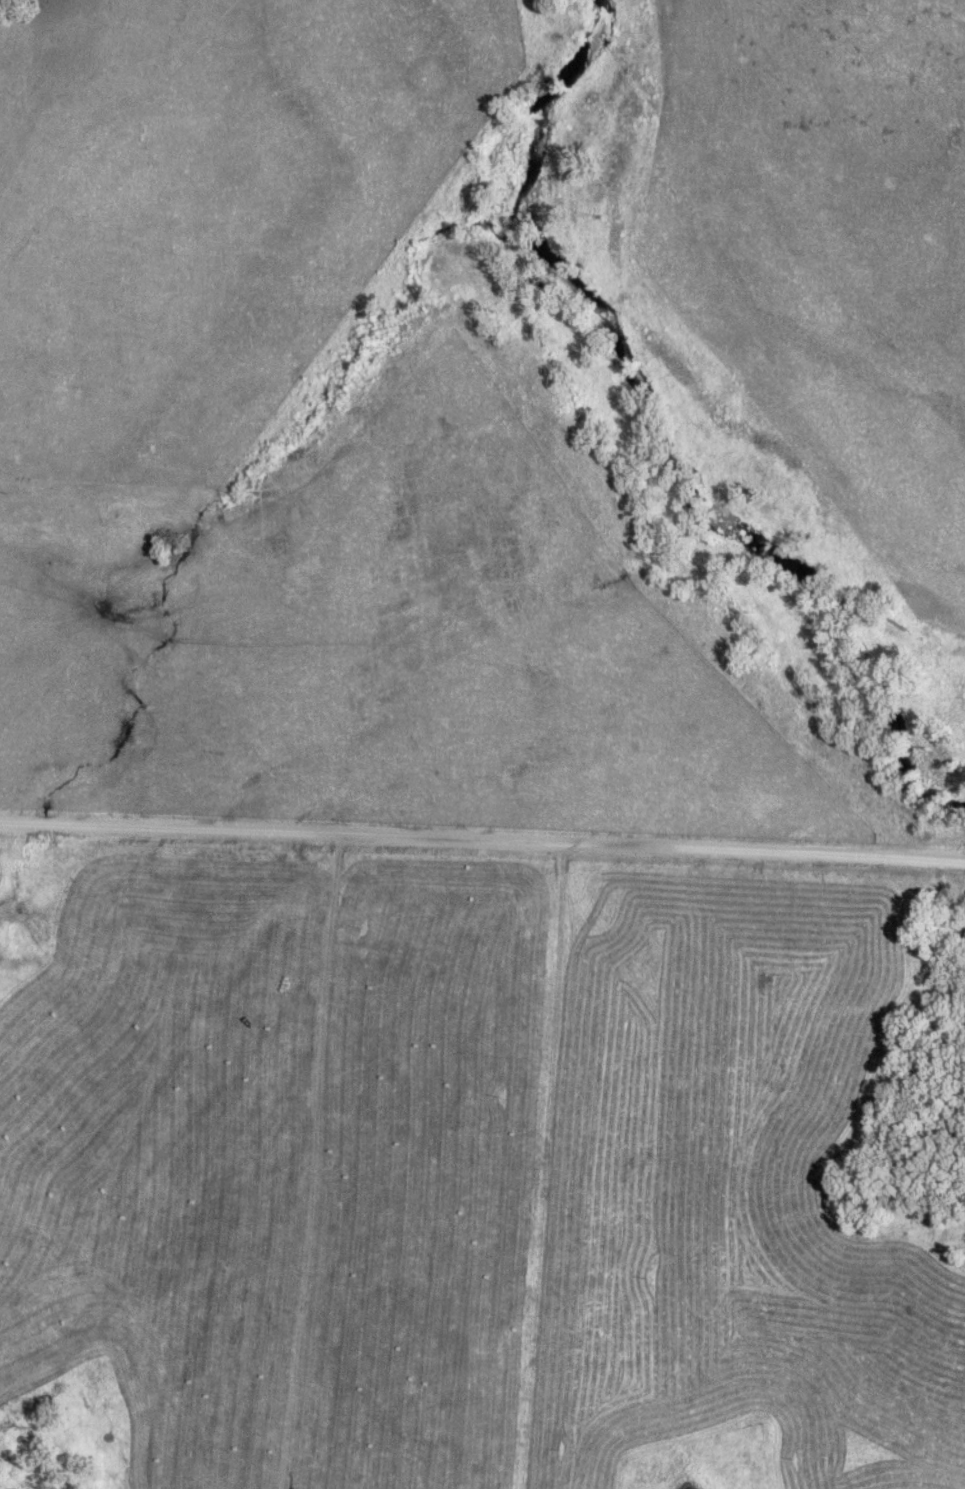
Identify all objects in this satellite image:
road: (482, 837)

